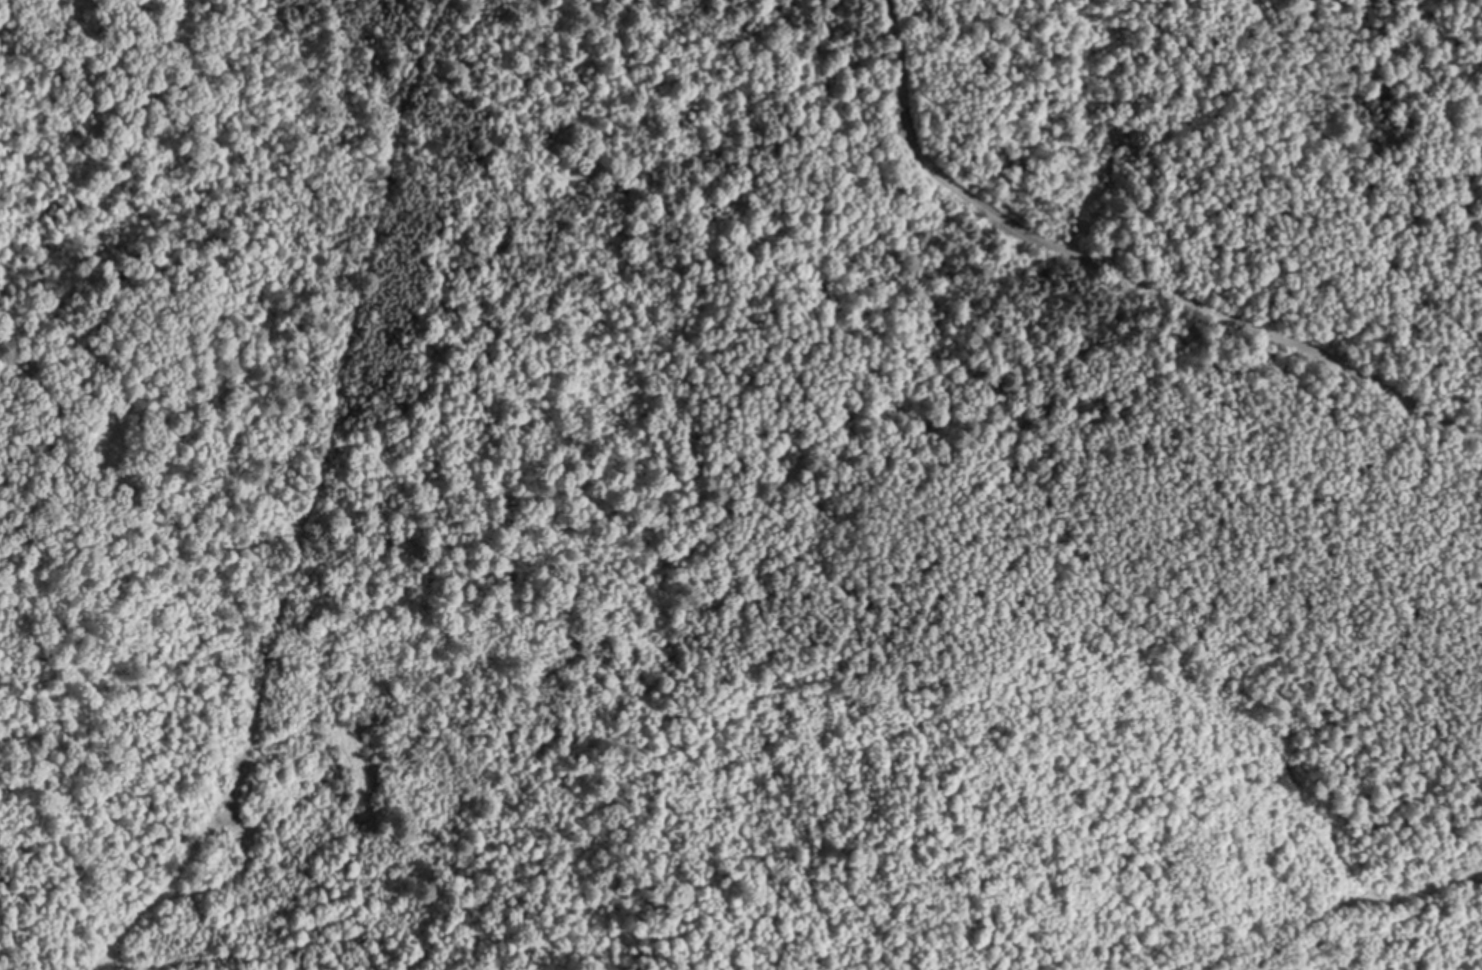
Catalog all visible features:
road: (1122, 271)
road: (159, 898)
road: (1357, 901)

